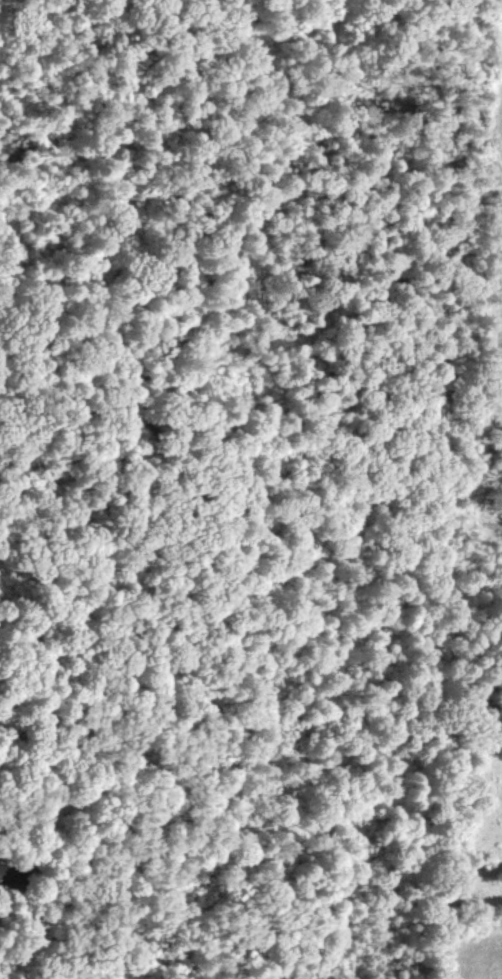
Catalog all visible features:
building: (5, 875)

